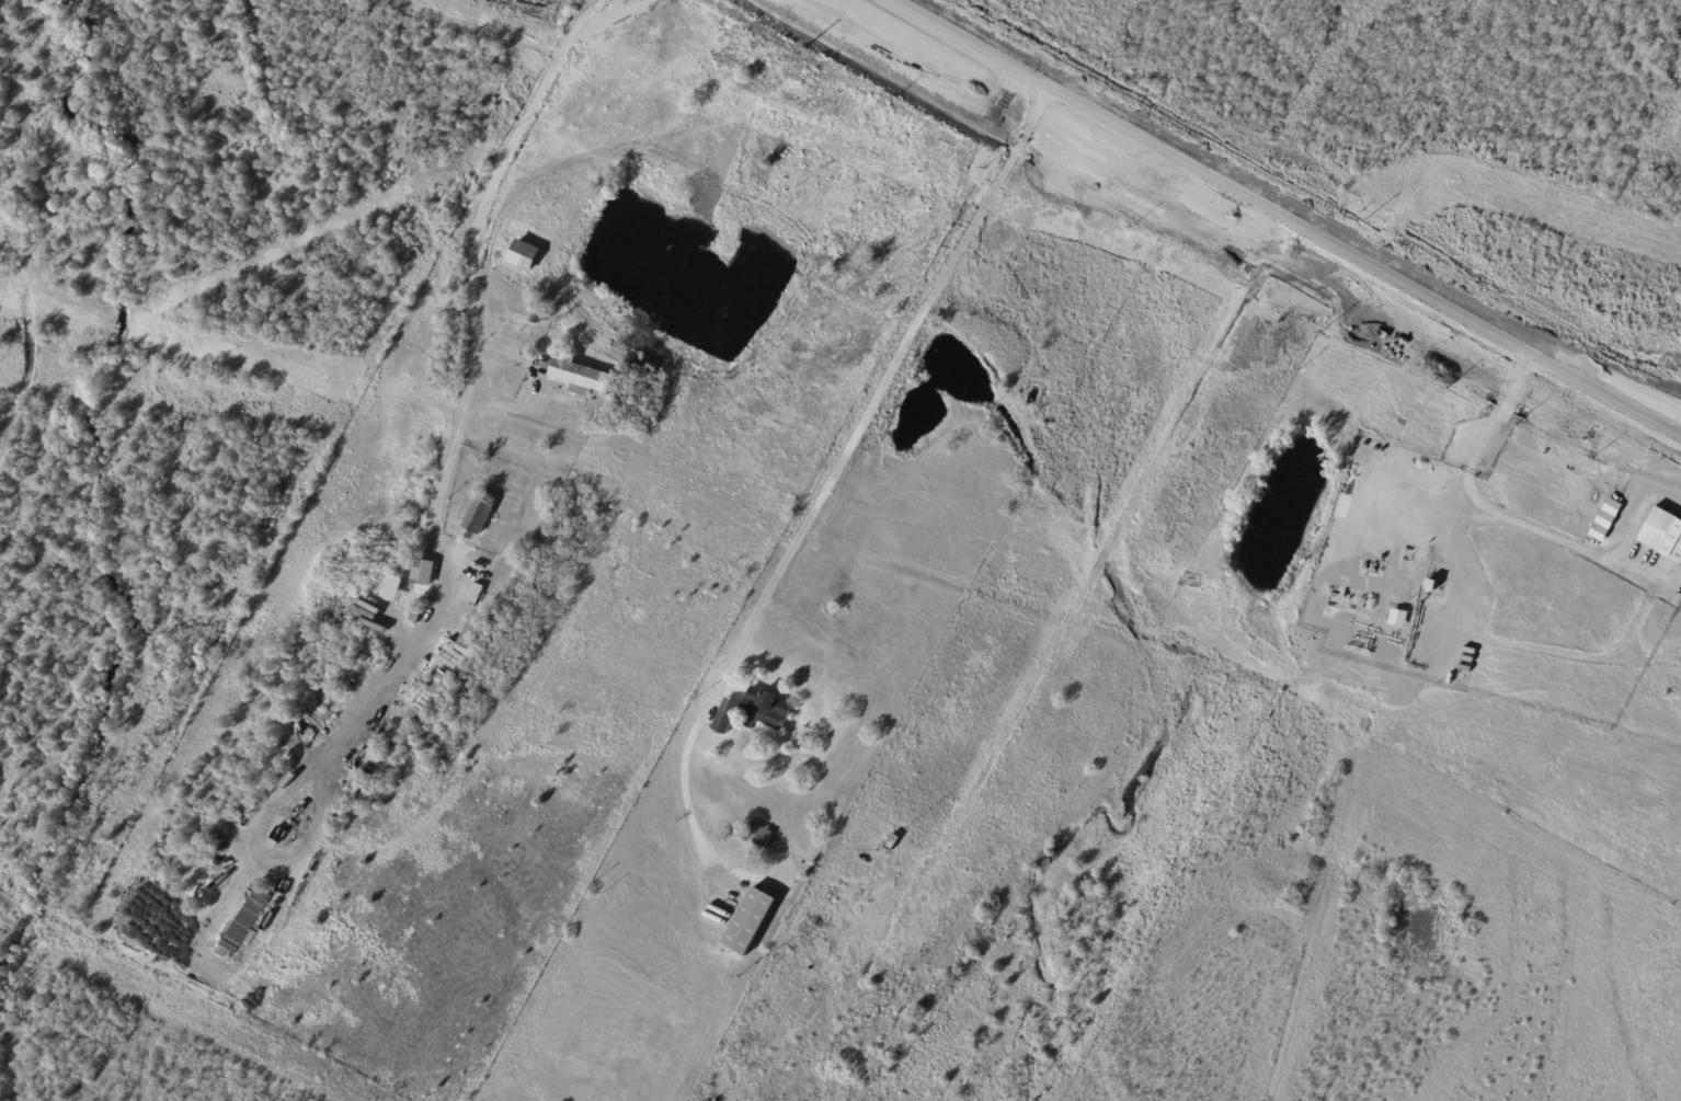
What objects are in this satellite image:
road: (1289, 217)
building: (525, 256)
building: (538, 316)
building: (547, 317)
building: (581, 378)
building: (535, 392)
road: (472, 393)
road: (1500, 412)
building: (584, 433)
road: (840, 470)
road: (1636, 512)
building: (479, 517)
building: (1663, 534)
road: (1568, 547)
building: (481, 565)
building: (424, 574)
building: (1431, 585)
building: (476, 595)
building: (404, 598)
building: (418, 615)
building: (1399, 620)
building: (473, 631)
road: (1491, 639)
building: (436, 695)
building: (765, 711)
building: (398, 719)
building: (727, 719)
building: (757, 835)
building: (893, 842)
building: (751, 921)
building: (812, 930)

